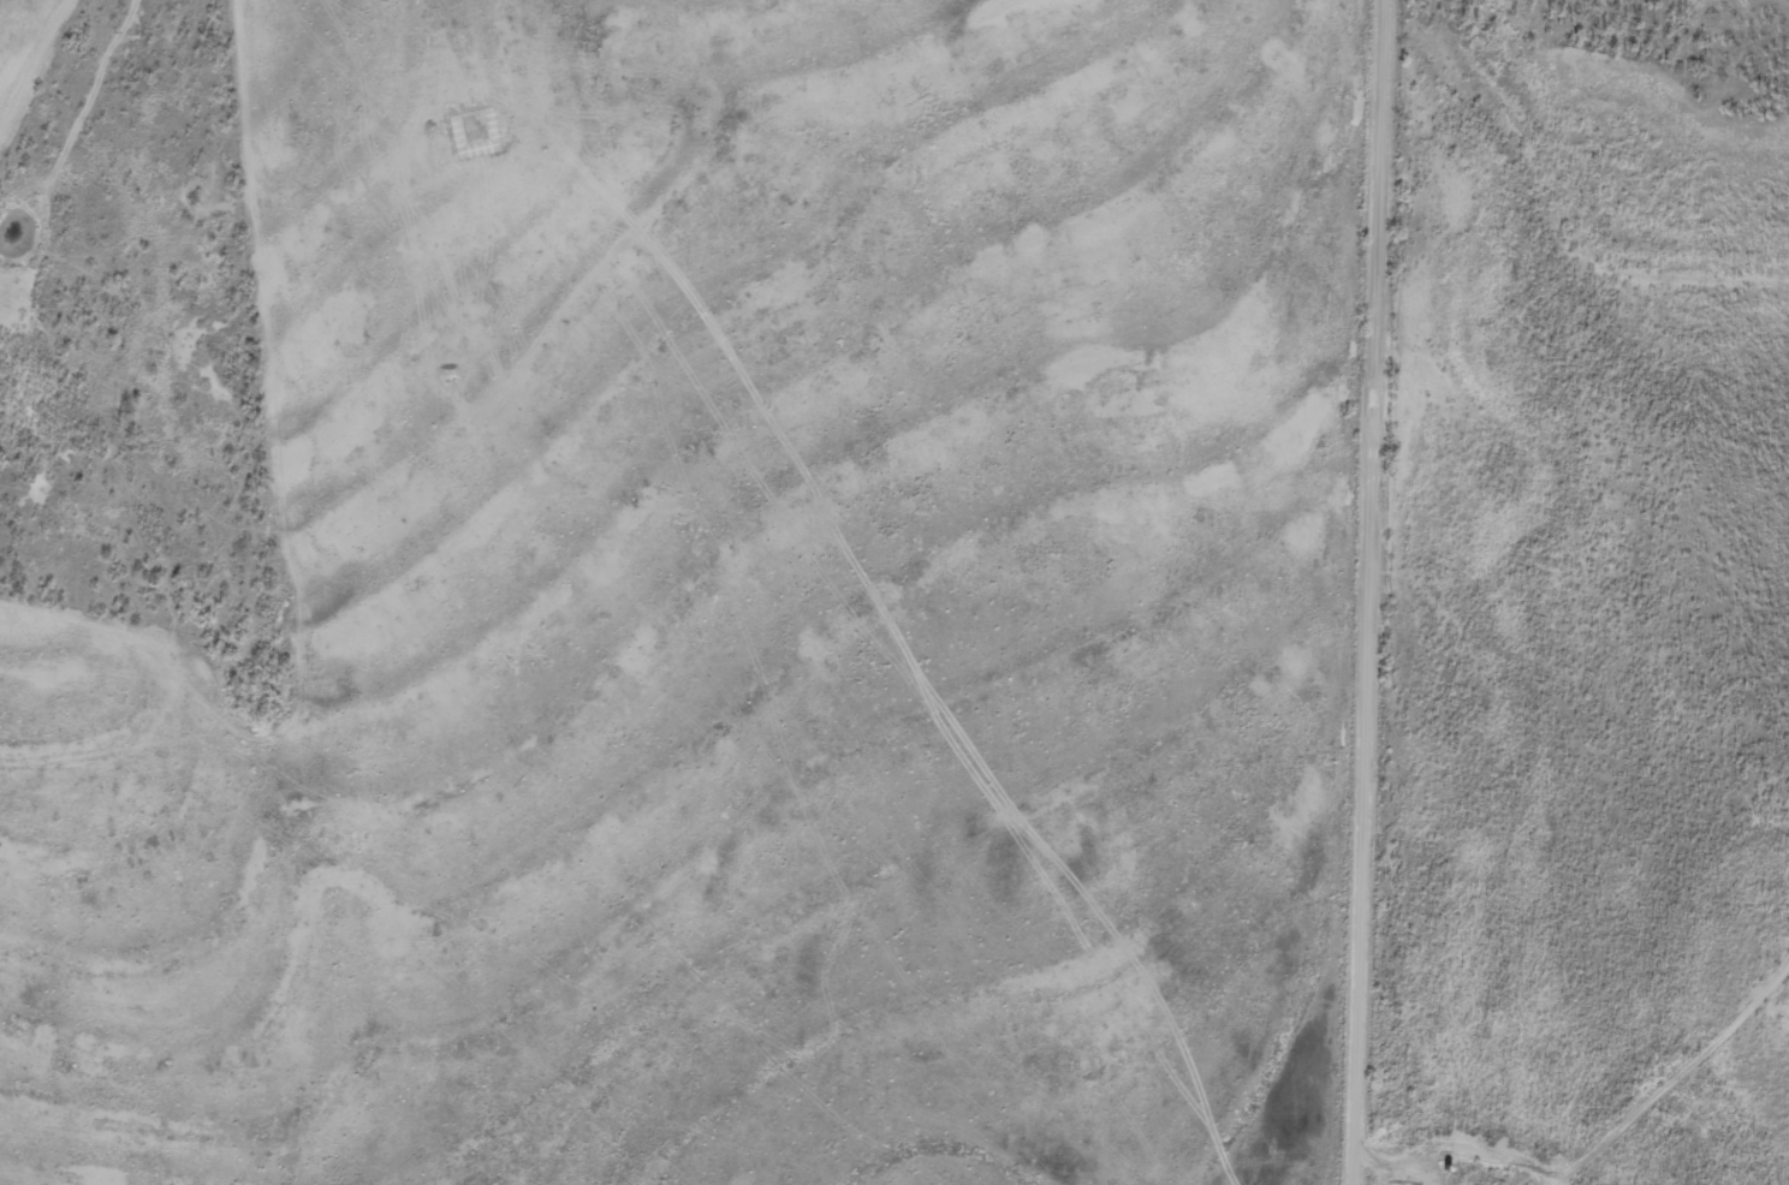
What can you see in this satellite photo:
road: (1372, 592)

